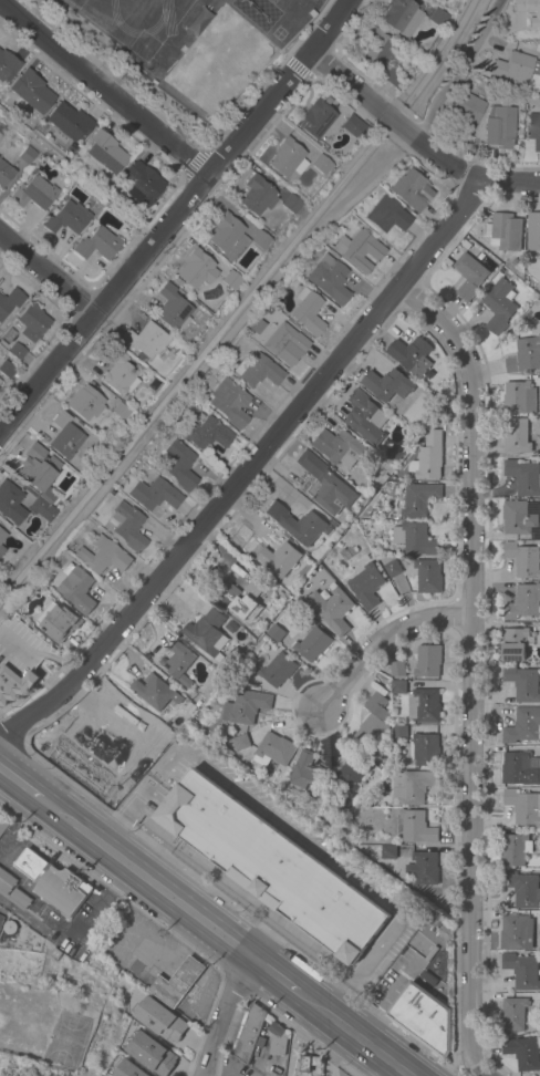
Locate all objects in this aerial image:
building: (525, 10)
building: (401, 15)
building: (437, 18)
building: (374, 46)
building: (7, 65)
building: (516, 68)
road: (297, 69)
building: (392, 75)
road: (454, 76)
road: (103, 89)
building: (30, 92)
building: (503, 102)
building: (464, 113)
building: (315, 118)
building: (67, 123)
building: (352, 125)
building: (499, 125)
building: (1, 127)
building: (533, 130)
road: (414, 138)
building: (103, 153)
building: (27, 155)
building: (285, 156)
road: (191, 163)
building: (321, 164)
building: (31, 172)
building: (4, 173)
building: (141, 183)
building: (411, 189)
building: (33, 193)
building: (257, 195)
building: (290, 203)
road: (173, 215)
building: (386, 215)
building: (70, 216)
building: (503, 231)
building: (533, 231)
building: (226, 234)
building: (259, 239)
building: (97, 244)
building: (359, 249)
building: (195, 269)
building: (468, 273)
road: (46, 275)
building: (329, 278)
building: (230, 279)
building: (9, 300)
building: (498, 307)
building: (172, 308)
building: (307, 311)
building: (31, 322)
building: (145, 340)
building: (282, 340)
building: (14, 350)
building: (409, 354)
building: (525, 355)
building: (6, 369)
building: (257, 371)
building: (118, 372)
building: (386, 384)
building: (518, 397)
building: (84, 402)
building: (227, 402)
building: (123, 413)
building: (364, 416)
building: (205, 433)
building: (64, 435)
building: (515, 436)
building: (336, 446)
building: (429, 457)
building: (179, 464)
building: (37, 467)
road: (248, 469)
building: (523, 478)
building: (325, 485)
building: (154, 494)
building: (417, 498)
building: (9, 499)
building: (41, 509)
building: (520, 518)
building: (297, 524)
building: (126, 526)
building: (2, 535)
building: (414, 538)
building: (1, 549)
building: (346, 552)
building: (103, 555)
building: (273, 556)
building: (522, 559)
building: (391, 568)
parking lot: (1, 572)
building: (427, 575)
building: (365, 586)
building: (79, 590)
building: (248, 598)
building: (522, 602)
building: (331, 609)
building: (60, 623)
building: (206, 633)
building: (276, 633)
road: (381, 638)
building: (311, 643)
building: (515, 643)
building: (18, 659)
building: (427, 661)
road: (469, 661)
building: (179, 662)
building: (396, 669)
building: (277, 670)
building: (523, 684)
building: (397, 686)
building: (154, 692)
building: (423, 705)
building: (245, 706)
building: (188, 707)
building: (129, 710)
building: (373, 721)
building: (180, 726)
building: (522, 726)
building: (398, 732)
building: (239, 743)
building: (272, 749)
building: (425, 749)
building: (520, 768)
building: (353, 770)
building: (304, 775)
road: (25, 787)
building: (414, 787)
building: (523, 807)
building: (339, 808)
building: (2, 822)
building: (414, 827)
building: (227, 832)
building: (515, 849)
building: (388, 852)
building: (422, 868)
building: (53, 882)
road: (152, 883)
building: (522, 889)
building: (304, 891)
building: (12, 892)
road: (144, 907)
road: (87, 910)
road: (21, 914)
building: (0, 920)
building: (343, 920)
parking lot: (77, 928)
building: (516, 933)
building: (363, 939)
road: (152, 948)
building: (521, 971)
road: (186, 974)
road: (277, 979)
building: (427, 979)
parking lot: (393, 980)
building: (176, 982)
road: (387, 985)
road: (209, 991)
building: (539, 1002)
building: (512, 1014)
road: (221, 1015)
road: (360, 1017)
building: (423, 1018)
building: (159, 1020)
road: (305, 1022)
building: (248, 1033)
road: (353, 1035)
building: (277, 1038)
park: (69, 1041)
road: (316, 1046)
road: (330, 1051)
building: (522, 1053)
building: (150, 1054)
road: (291, 1056)
building: (307, 1062)
building: (129, 1069)
road: (476, 1069)

